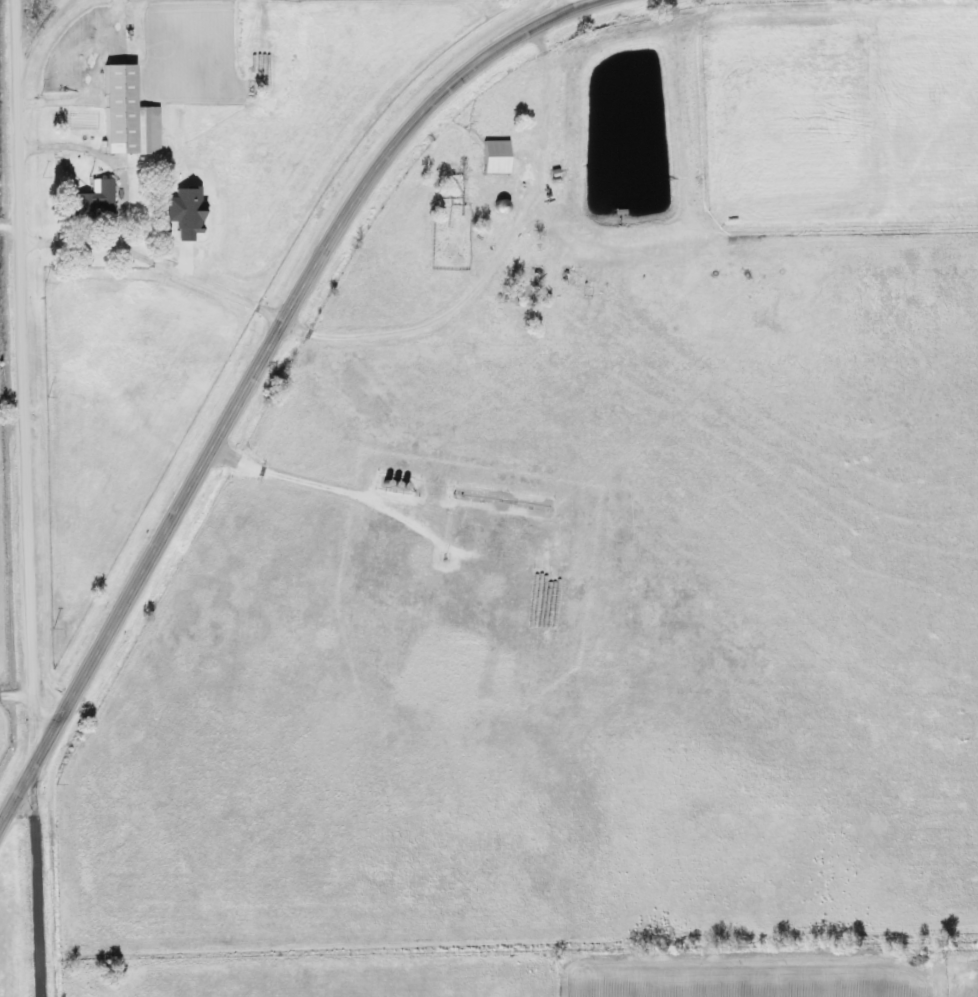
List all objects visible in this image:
road: (568, 0)
road: (31, 38)
building: (125, 115)
road: (79, 146)
building: (494, 156)
building: (90, 201)
road: (192, 280)
road: (17, 368)
road: (245, 372)
road: (13, 688)
road: (31, 888)

